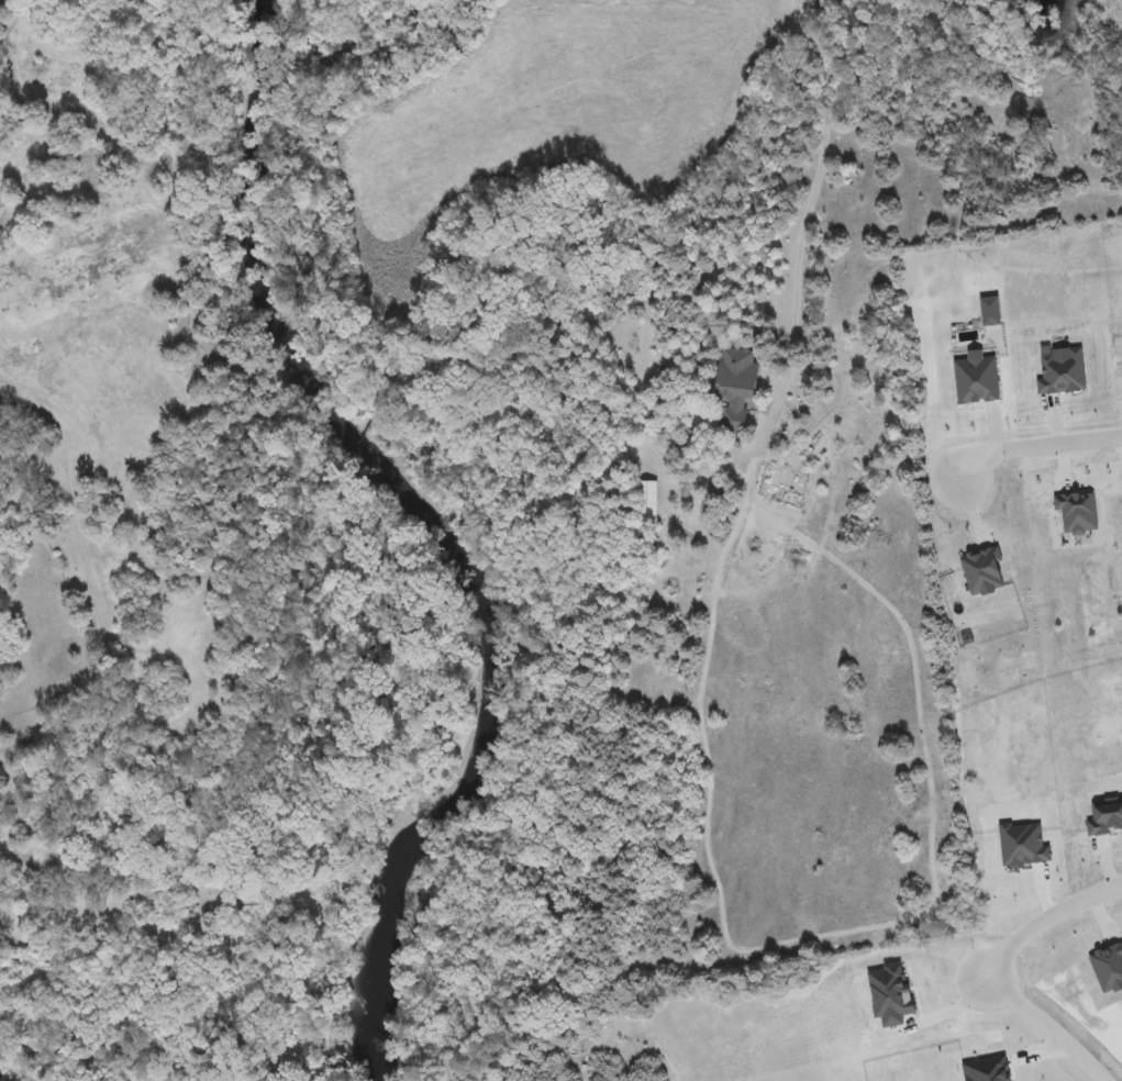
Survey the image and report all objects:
road: (800, 244)
building: (990, 311)
building: (1063, 370)
building: (976, 378)
building: (733, 385)
road: (1034, 445)
building: (1077, 511)
building: (984, 570)
building: (1106, 817)
building: (1023, 845)
road: (1043, 916)
building: (1036, 945)
building: (1108, 967)
road: (1043, 1027)

